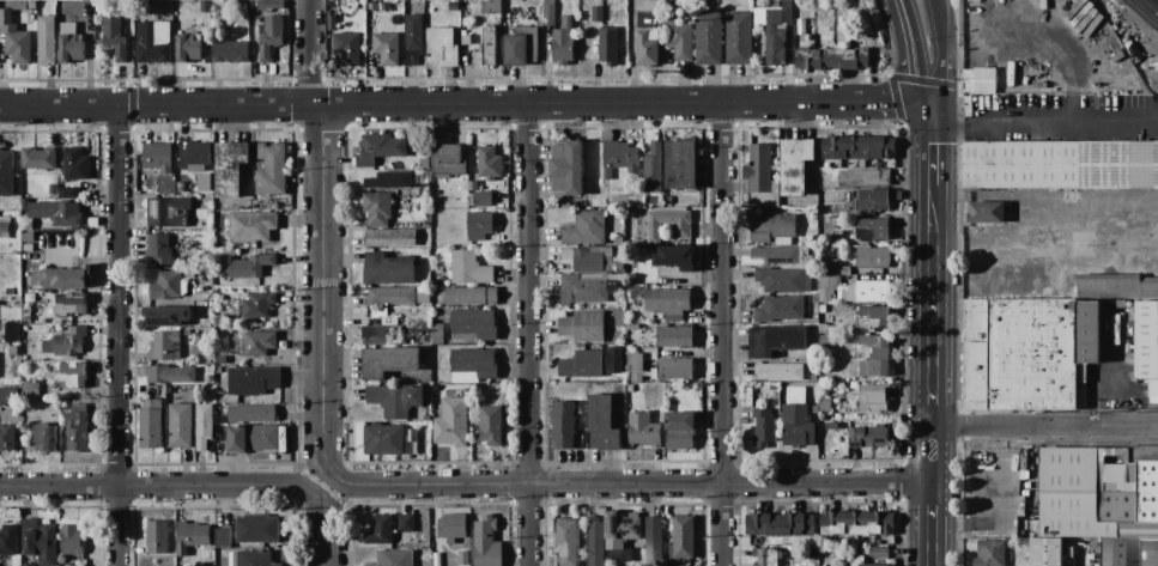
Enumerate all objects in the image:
park: (23, 0)
building: (271, 4)
building: (18, 5)
building: (32, 5)
building: (374, 6)
building: (453, 6)
building: (491, 6)
railway: (1151, 6)
road: (939, 10)
railway: (1144, 12)
building: (68, 13)
building: (598, 13)
building: (548, 14)
building: (331, 22)
building: (776, 35)
building: (271, 36)
road: (889, 36)
building: (114, 37)
road: (942, 37)
road: (1042, 37)
building: (413, 38)
building: (708, 38)
building: (738, 38)
building: (14, 39)
building: (46, 39)
building: (465, 39)
building: (680, 41)
building: (153, 42)
building: (562, 42)
building: (489, 45)
building: (521, 45)
building: (608, 45)
road: (874, 45)
building: (648, 47)
building: (188, 48)
building: (346, 48)
building: (386, 48)
building: (442, 48)
building: (71, 49)
building: (230, 51)
road: (308, 51)
road: (911, 55)
building: (830, 59)
building: (283, 61)
road: (915, 80)
building: (980, 80)
road: (944, 84)
road: (891, 89)
road: (439, 103)
road: (904, 104)
traffic signals: (929, 108)
road: (1039, 116)
road: (930, 144)
building: (857, 147)
building: (380, 148)
building: (193, 154)
building: (157, 156)
building: (38, 158)
building: (619, 158)
building: (448, 159)
building: (489, 162)
building: (74, 164)
building: (680, 164)
building: (794, 165)
building: (1060, 165)
building: (230, 168)
building: (566, 168)
building: (271, 169)
building: (653, 169)
building: (5, 174)
building: (863, 177)
building: (759, 178)
building: (388, 179)
building: (68, 193)
building: (481, 199)
building: (666, 200)
building: (872, 201)
building: (377, 208)
building: (986, 212)
building: (55, 213)
building: (166, 213)
building: (29, 223)
building: (478, 225)
building: (251, 226)
building: (4, 227)
building: (771, 227)
building: (586, 229)
building: (680, 230)
building: (872, 230)
building: (28, 237)
building: (390, 238)
building: (618, 242)
building: (1156, 242)
road: (998, 243)
building: (158, 249)
building: (424, 254)
building: (776, 256)
building: (674, 257)
building: (872, 258)
building: (593, 260)
building: (244, 267)
building: (619, 267)
building: (388, 269)
building: (469, 269)
building: (843, 270)
building: (35, 276)
building: (65, 279)
building: (783, 280)
building: (165, 286)
building: (1116, 286)
building: (586, 287)
building: (826, 288)
building: (867, 290)
road: (322, 291)
building: (8, 292)
building: (633, 293)
building: (471, 296)
building: (390, 297)
building: (423, 298)
building: (668, 303)
building: (69, 304)
building: (257, 305)
building: (778, 309)
building: (166, 316)
building: (872, 317)
building: (614, 318)
building: (218, 321)
building: (472, 325)
building: (581, 327)
building: (824, 329)
building: (11, 333)
building: (437, 333)
road: (117, 334)
building: (382, 334)
road: (527, 334)
road: (720, 334)
building: (674, 337)
building: (775, 340)
building: (824, 340)
building: (66, 342)
building: (259, 343)
building: (1147, 343)
building: (162, 346)
building: (12, 351)
building: (1027, 353)
building: (872, 357)
building: (220, 360)
building: (389, 361)
building: (581, 364)
building: (472, 365)
building: (633, 366)
building: (672, 370)
building: (778, 371)
road: (932, 372)
building: (71, 373)
building: (170, 375)
building: (618, 378)
building: (251, 381)
road: (1095, 384)
building: (854, 385)
building: (29, 388)
building: (7, 395)
building: (872, 398)
building: (395, 400)
building: (824, 404)
building: (251, 414)
building: (795, 420)
building: (450, 421)
building: (150, 424)
building: (180, 425)
building: (564, 425)
building: (601, 425)
building: (202, 426)
building: (490, 426)
building: (763, 426)
building: (831, 426)
road: (1044, 426)
building: (895, 428)
building: (643, 430)
building: (679, 431)
building: (77, 432)
building: (821, 434)
building: (7, 437)
building: (868, 437)
building: (251, 438)
building: (43, 439)
building: (383, 440)
building: (411, 442)
road: (633, 483)
road: (160, 486)
road: (327, 488)
building: (1095, 492)
building: (406, 523)
building: (856, 523)
building: (778, 524)
building: (451, 527)
building: (256, 530)
building: (380, 530)
road: (323, 531)
building: (620, 535)
building: (192, 536)
building: (683, 536)
building: (156, 537)
building: (653, 537)
building: (222, 538)
building: (8, 540)
building: (71, 540)
building: (287, 541)
building: (565, 541)
building: (594, 542)
building: (486, 543)
building: (40, 544)
building: (878, 552)
building: (1045, 552)
building: (1128, 552)
building: (989, 554)
building: (766, 556)
building: (394, 558)
building: (463, 558)
building: (254, 559)
building: (857, 561)
building: (662, 562)
building: (26, 565)

